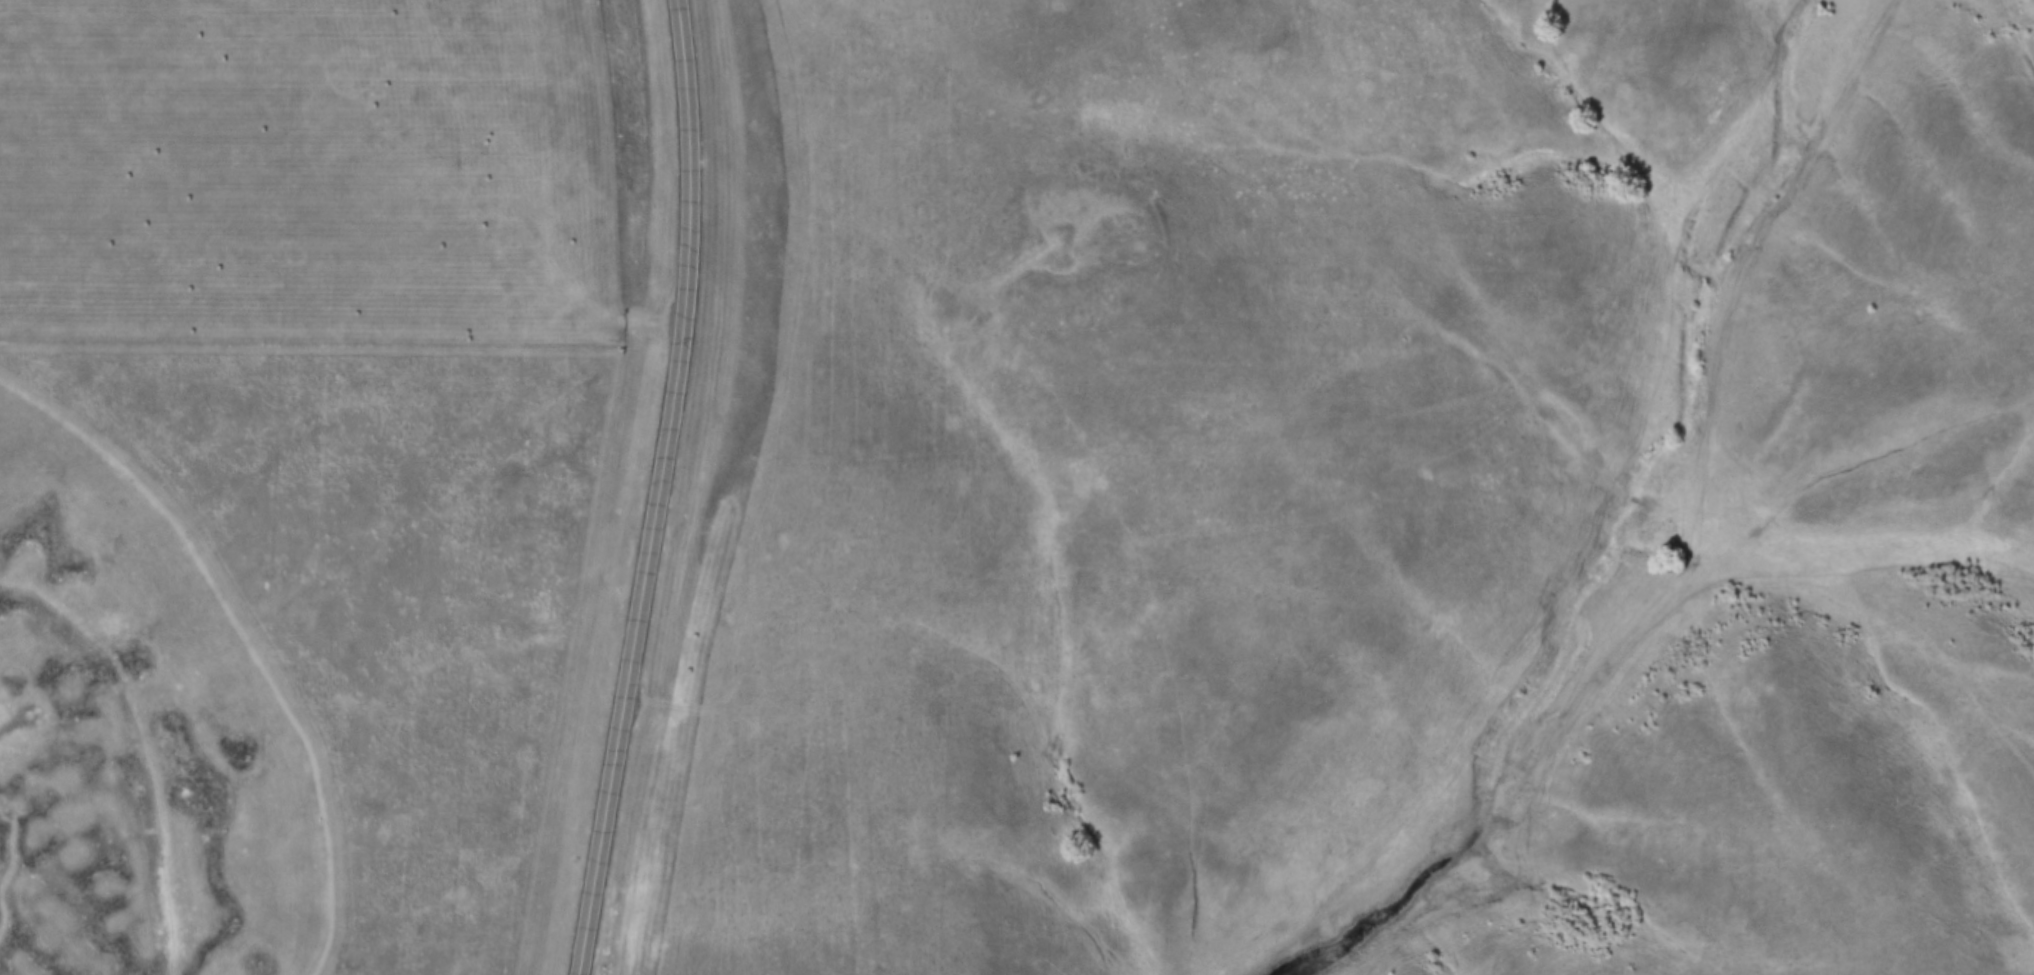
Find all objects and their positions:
road: (663, 489)
road: (236, 641)

